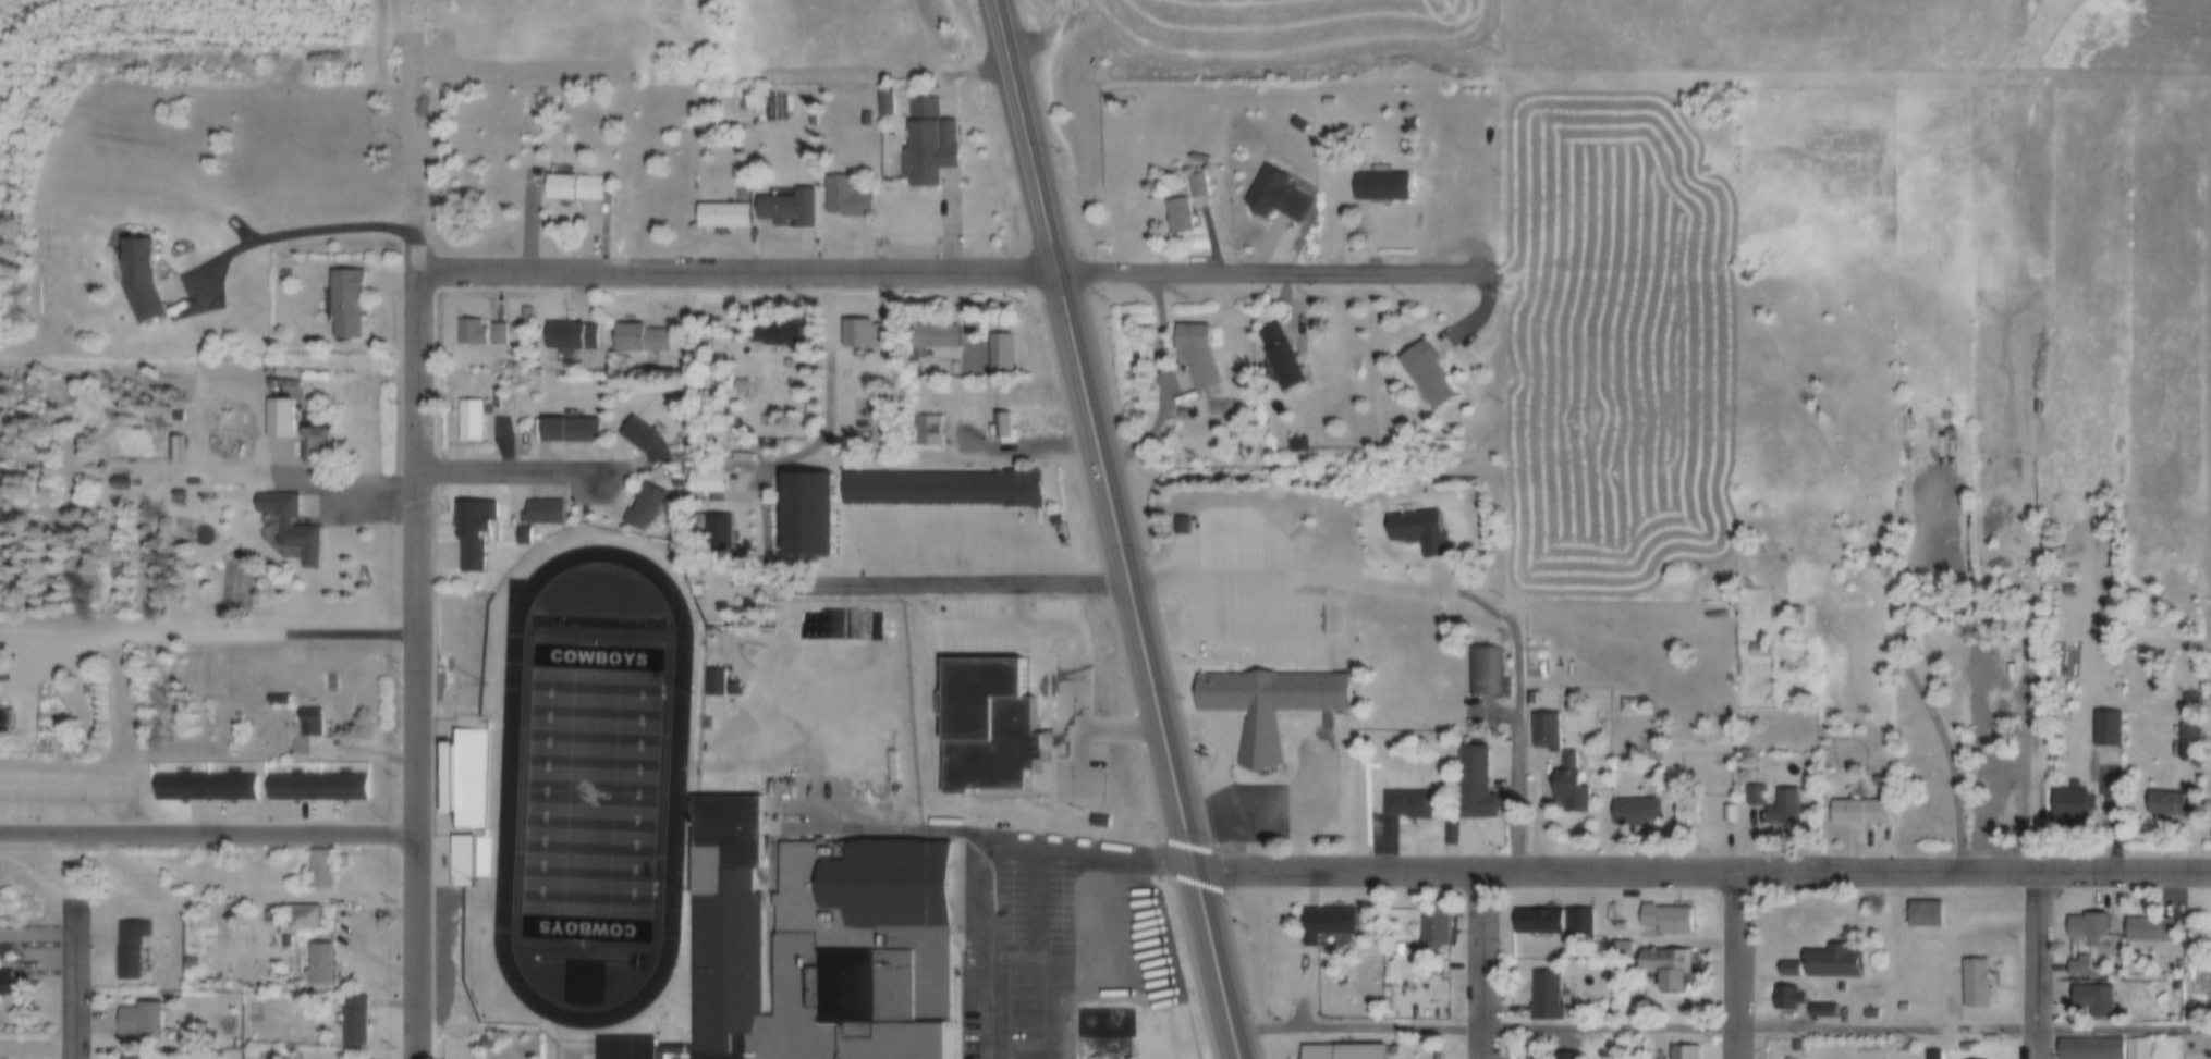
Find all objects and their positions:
road: (1003, 34)
road: (1065, 34)
building: (1327, 103)
building: (538, 104)
road: (1021, 107)
building: (864, 116)
building: (1408, 123)
building: (1297, 125)
building: (928, 140)
building: (1195, 186)
building: (569, 188)
building: (1378, 188)
building: (742, 190)
building: (845, 196)
building: (1274, 198)
building: (787, 205)
building: (723, 213)
building: (1176, 216)
road: (740, 274)
road: (1274, 275)
building: (139, 282)
building: (344, 304)
building: (524, 312)
building: (775, 330)
building: (469, 331)
building: (863, 332)
building: (569, 333)
building: (933, 333)
building: (638, 335)
building: (493, 336)
building: (1196, 354)
building: (1279, 357)
building: (1425, 375)
building: (740, 381)
building: (277, 419)
building: (468, 419)
building: (999, 424)
building: (926, 427)
building: (569, 429)
building: (644, 439)
building: (1294, 443)
building: (312, 446)
building: (173, 451)
road: (506, 472)
building: (704, 477)
building: (192, 481)
building: (939, 488)
building: (176, 493)
road: (344, 498)
building: (644, 506)
building: (543, 509)
building: (806, 513)
building: (289, 525)
building: (1178, 526)
building: (716, 528)
building: (472, 531)
building: (521, 533)
building: (1416, 533)
road: (960, 579)
road: (1286, 579)
building: (2067, 587)
road: (1139, 602)
building: (1793, 617)
track: (595, 618)
road: (215, 637)
building: (1752, 652)
road: (420, 666)
building: (1482, 672)
building: (713, 679)
street lamp: (484, 680)
road: (1092, 680)
street lamp: (692, 687)
building: (732, 687)
building: (2188, 697)
building: (277, 700)
road: (1519, 706)
building: (1627, 707)
building: (1266, 710)
building: (2, 722)
building: (308, 722)
park: (732, 722)
building: (987, 724)
building: (2105, 726)
building: (1542, 731)
building: (2187, 740)
building: (188, 771)
track: (504, 781)
building: (464, 785)
building: (315, 786)
building: (203, 787)
park: (588, 787)
building: (1471, 787)
building: (1566, 788)
building: (1752, 800)
building: (2070, 800)
building: (2163, 802)
building: (297, 805)
building: (1406, 805)
building: (1781, 812)
building: (1632, 813)
building: (1684, 813)
building: (1857, 814)
building: (1725, 816)
building: (1097, 820)
road: (209, 828)
building: (341, 862)
road: (1006, 867)
road: (1702, 870)
building: (319, 871)
street lamp: (474, 874)
street lamp: (683, 885)
building: (1921, 914)
building: (303, 919)
building: (1664, 919)
building: (1552, 922)
building: (1328, 926)
building: (1431, 928)
building: (2084, 929)
building: (2146, 933)
parking lot: (1014, 941)
building: (810, 946)
building: (1622, 947)
building: (130, 949)
building: (187, 961)
building: (2078, 961)
building: (317, 964)
road: (1487, 964)
road: (1739, 964)
road: (2039, 964)
building: (1830, 965)
building: (1664, 969)
road: (75, 981)
building: (207, 982)
building: (4, 983)
building: (1971, 985)
building: (1544, 997)
building: (1785, 998)
building: (1905, 1002)
building: (2090, 1006)
building: (1819, 1010)
building: (1869, 1012)
building: (138, 1022)
building: (353, 1022)
road: (1720, 1024)
building: (484, 1042)
building: (1795, 1044)
building: (2089, 1050)
building: (2133, 1050)
building: (1683, 1051)
building: (1441, 1055)
building: (1556, 1055)
building: (1930, 1055)
building: (126, 1056)

